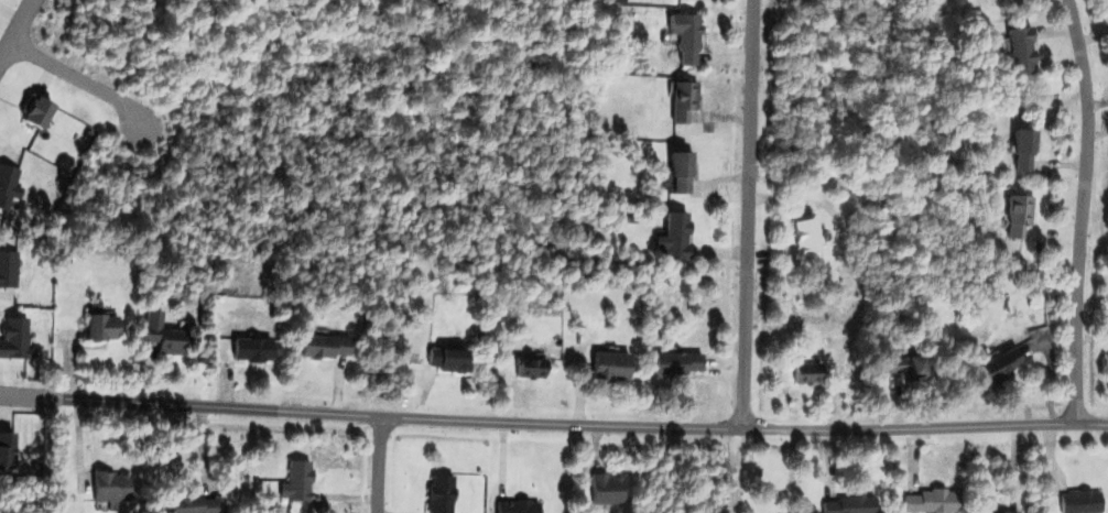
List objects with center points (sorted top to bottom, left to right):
road: (19, 35)
building: (681, 36)
building: (1018, 51)
road: (87, 81)
building: (681, 101)
building: (29, 113)
building: (1019, 149)
building: (676, 171)
building: (6, 185)
road: (1086, 209)
road: (750, 214)
building: (1014, 217)
building: (802, 236)
building: (670, 237)
building: (95, 326)
building: (155, 332)
building: (12, 338)
building: (1107, 338)
building: (321, 345)
building: (247, 348)
building: (445, 358)
building: (673, 362)
building: (606, 364)
building: (995, 364)
building: (897, 365)
building: (526, 367)
building: (801, 372)
road: (553, 424)
building: (4, 451)
road: (382, 465)
road: (736, 471)
building: (293, 480)
building: (98, 485)
building: (604, 488)
building: (436, 492)
building: (928, 501)
building: (1077, 501)
building: (186, 503)
building: (845, 504)
building: (512, 505)
building: (1003, 511)

